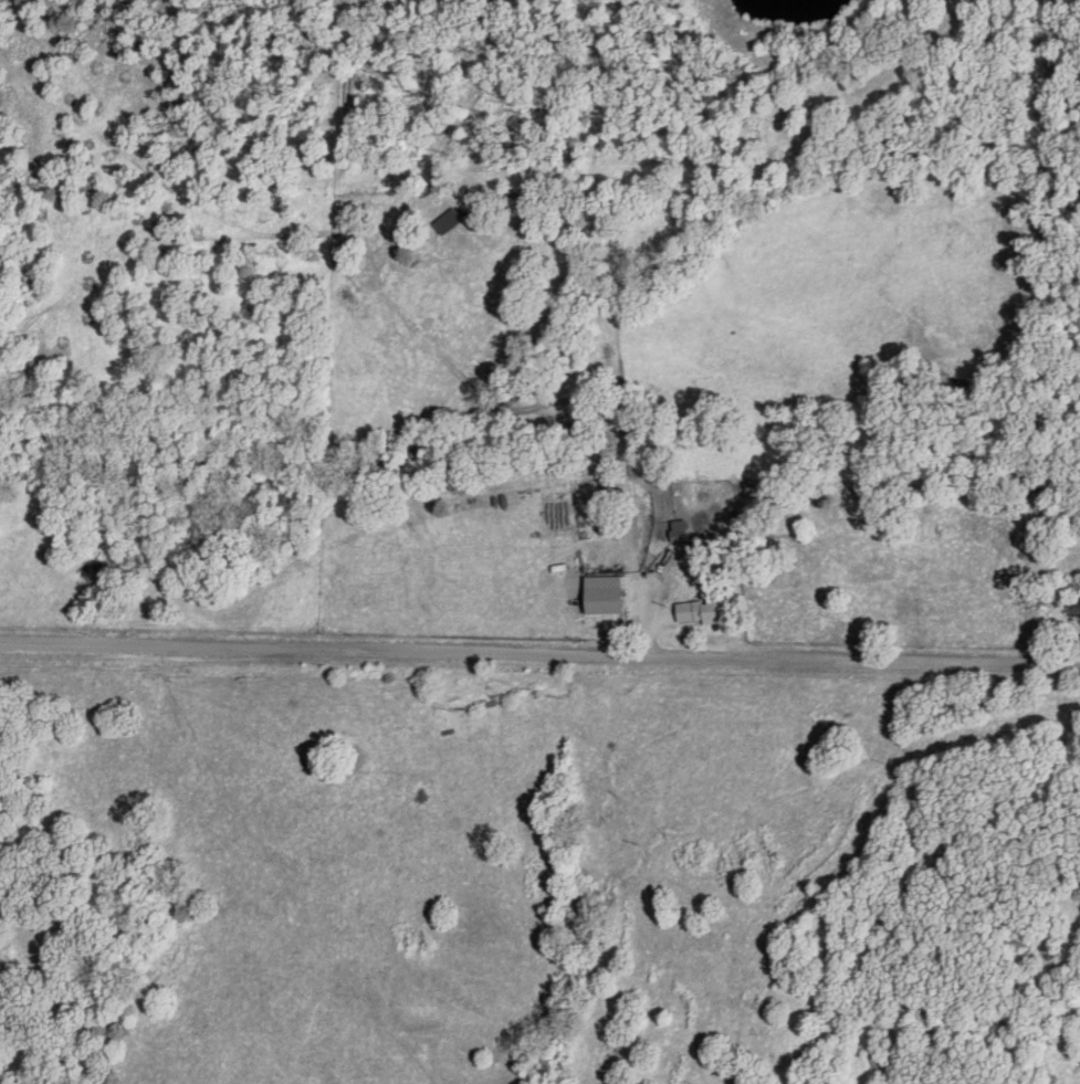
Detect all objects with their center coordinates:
building: (680, 529)
road: (632, 545)
building: (631, 594)
building: (1073, 607)
building: (700, 611)
road: (539, 659)

